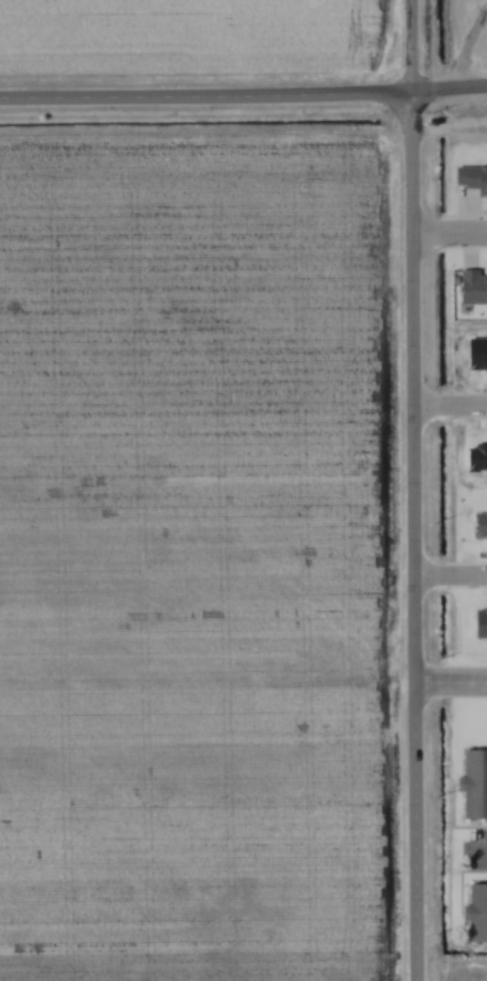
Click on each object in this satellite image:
road: (410, 46)
road: (466, 48)
road: (449, 89)
road: (205, 95)
building: (471, 178)
road: (449, 236)
building: (470, 286)
road: (412, 384)
road: (450, 404)
crop: (188, 544)
road: (450, 578)
road: (451, 678)
building: (470, 783)
road: (415, 829)
road: (483, 848)
building: (473, 913)
crop: (477, 972)

